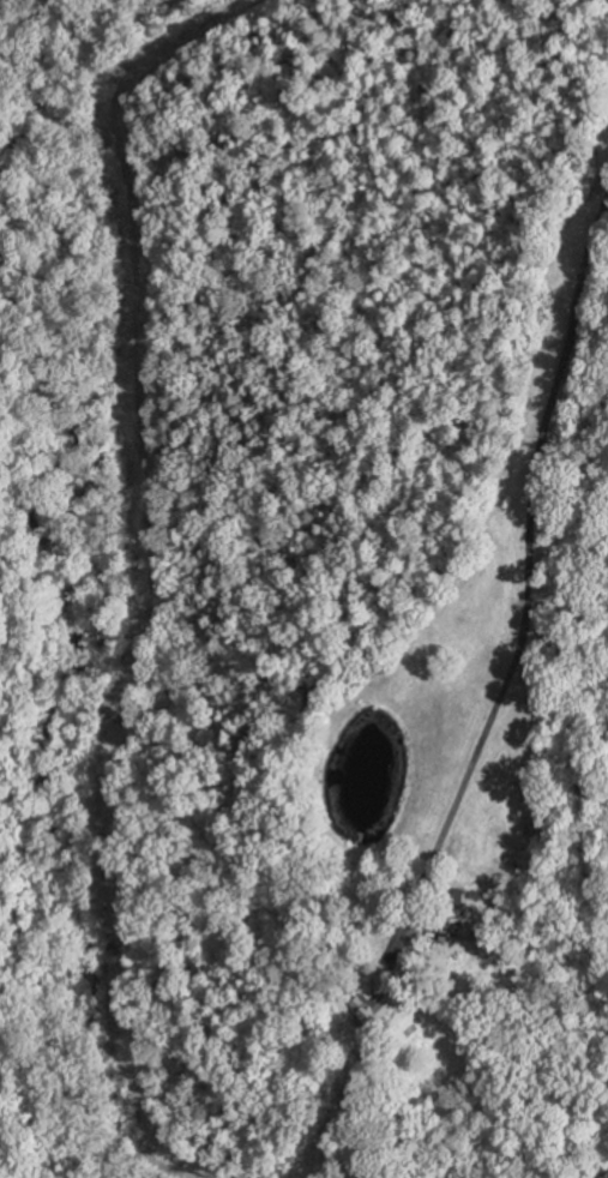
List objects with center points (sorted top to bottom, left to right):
road: (156, 577)
road: (531, 584)
building: (374, 1010)

